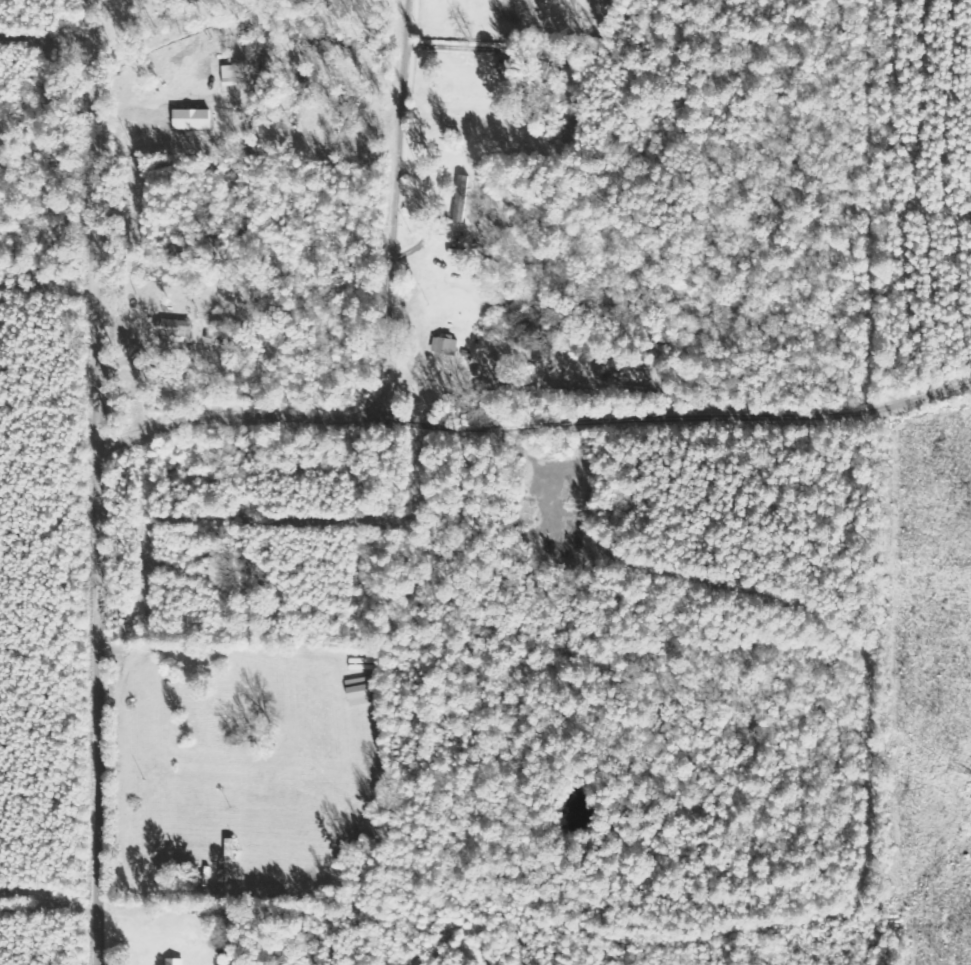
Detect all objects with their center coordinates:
road: (54, 7)
building: (460, 198)
road: (395, 199)
building: (172, 327)
building: (443, 346)
road: (244, 418)
road: (712, 438)
road: (109, 482)
road: (580, 500)
building: (172, 962)

